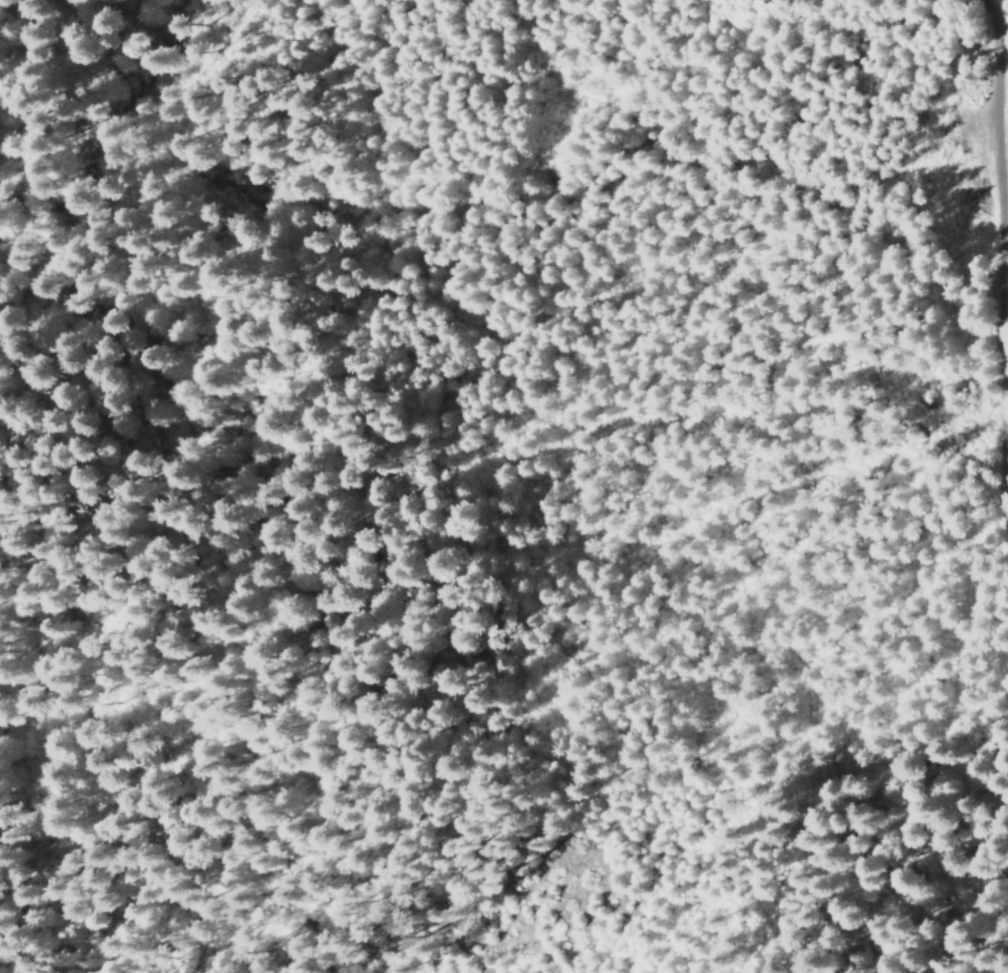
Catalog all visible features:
road: (999, 237)

